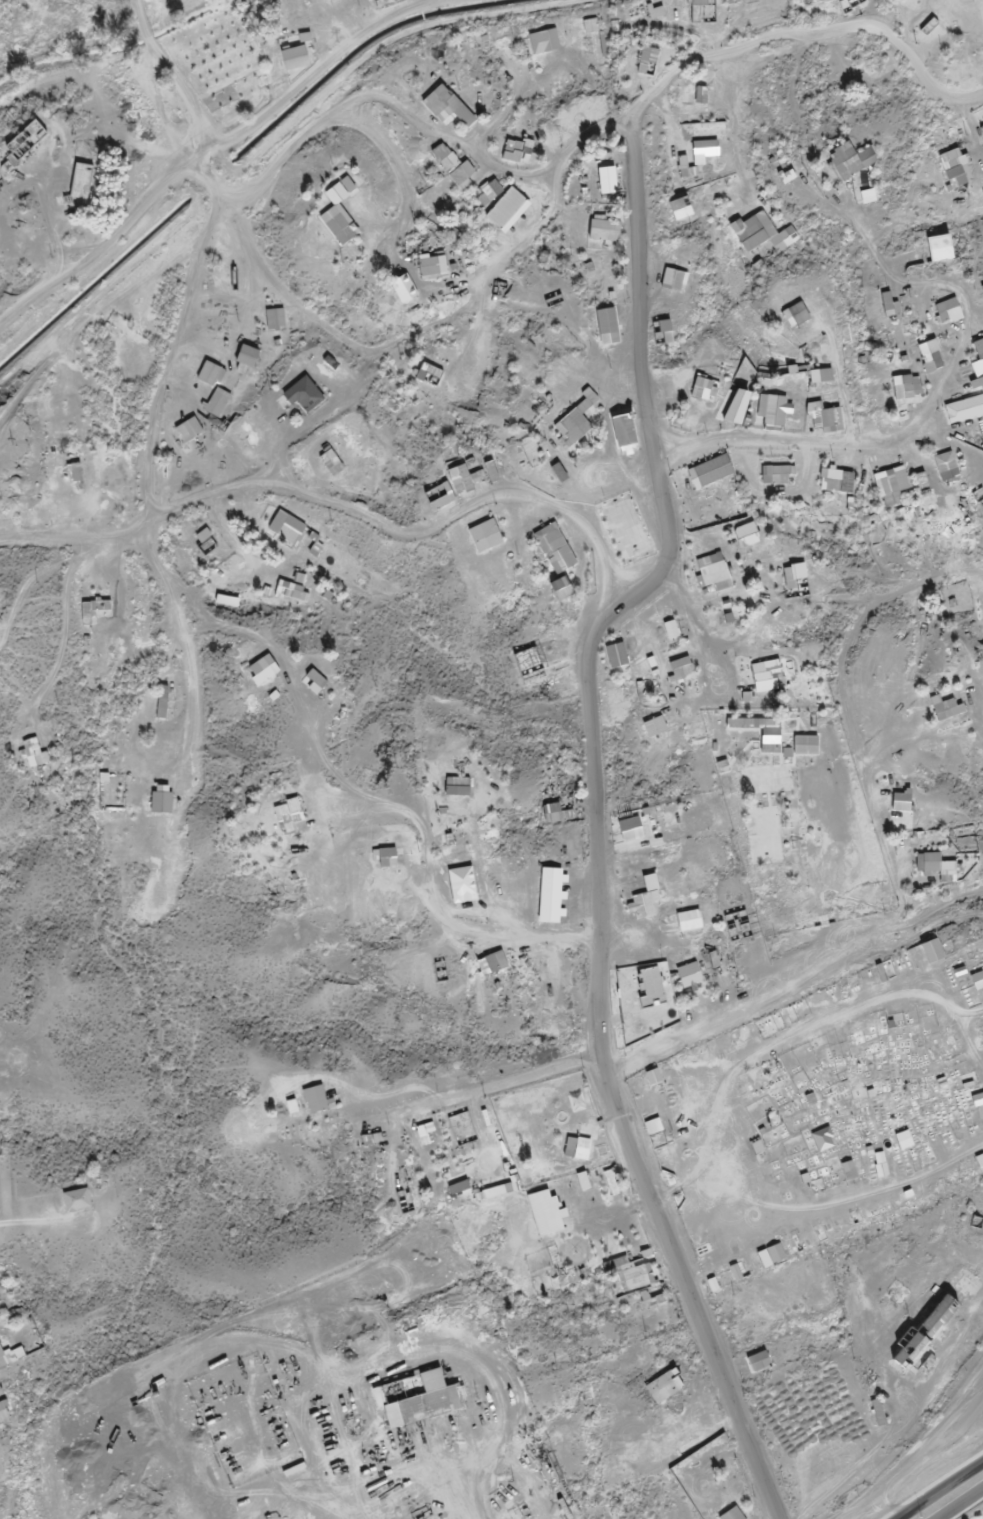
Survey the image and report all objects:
park: (827, 1114)

